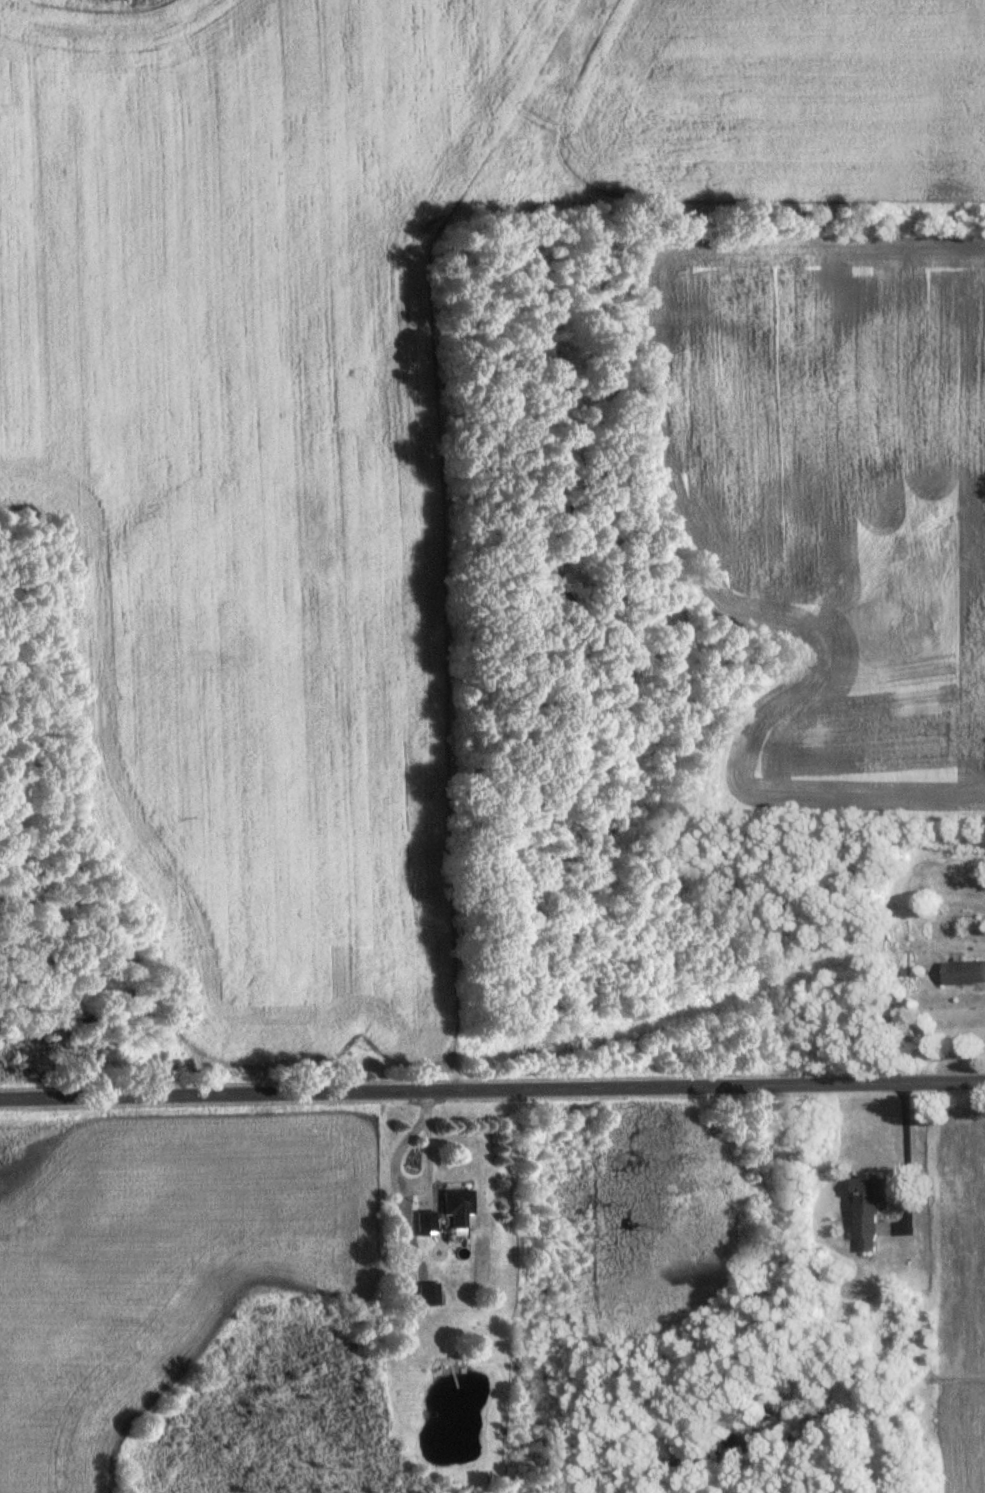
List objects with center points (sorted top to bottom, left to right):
building: (963, 972)
road: (492, 1089)
building: (455, 1206)
building: (867, 1210)
building: (425, 1222)
building: (426, 1294)

